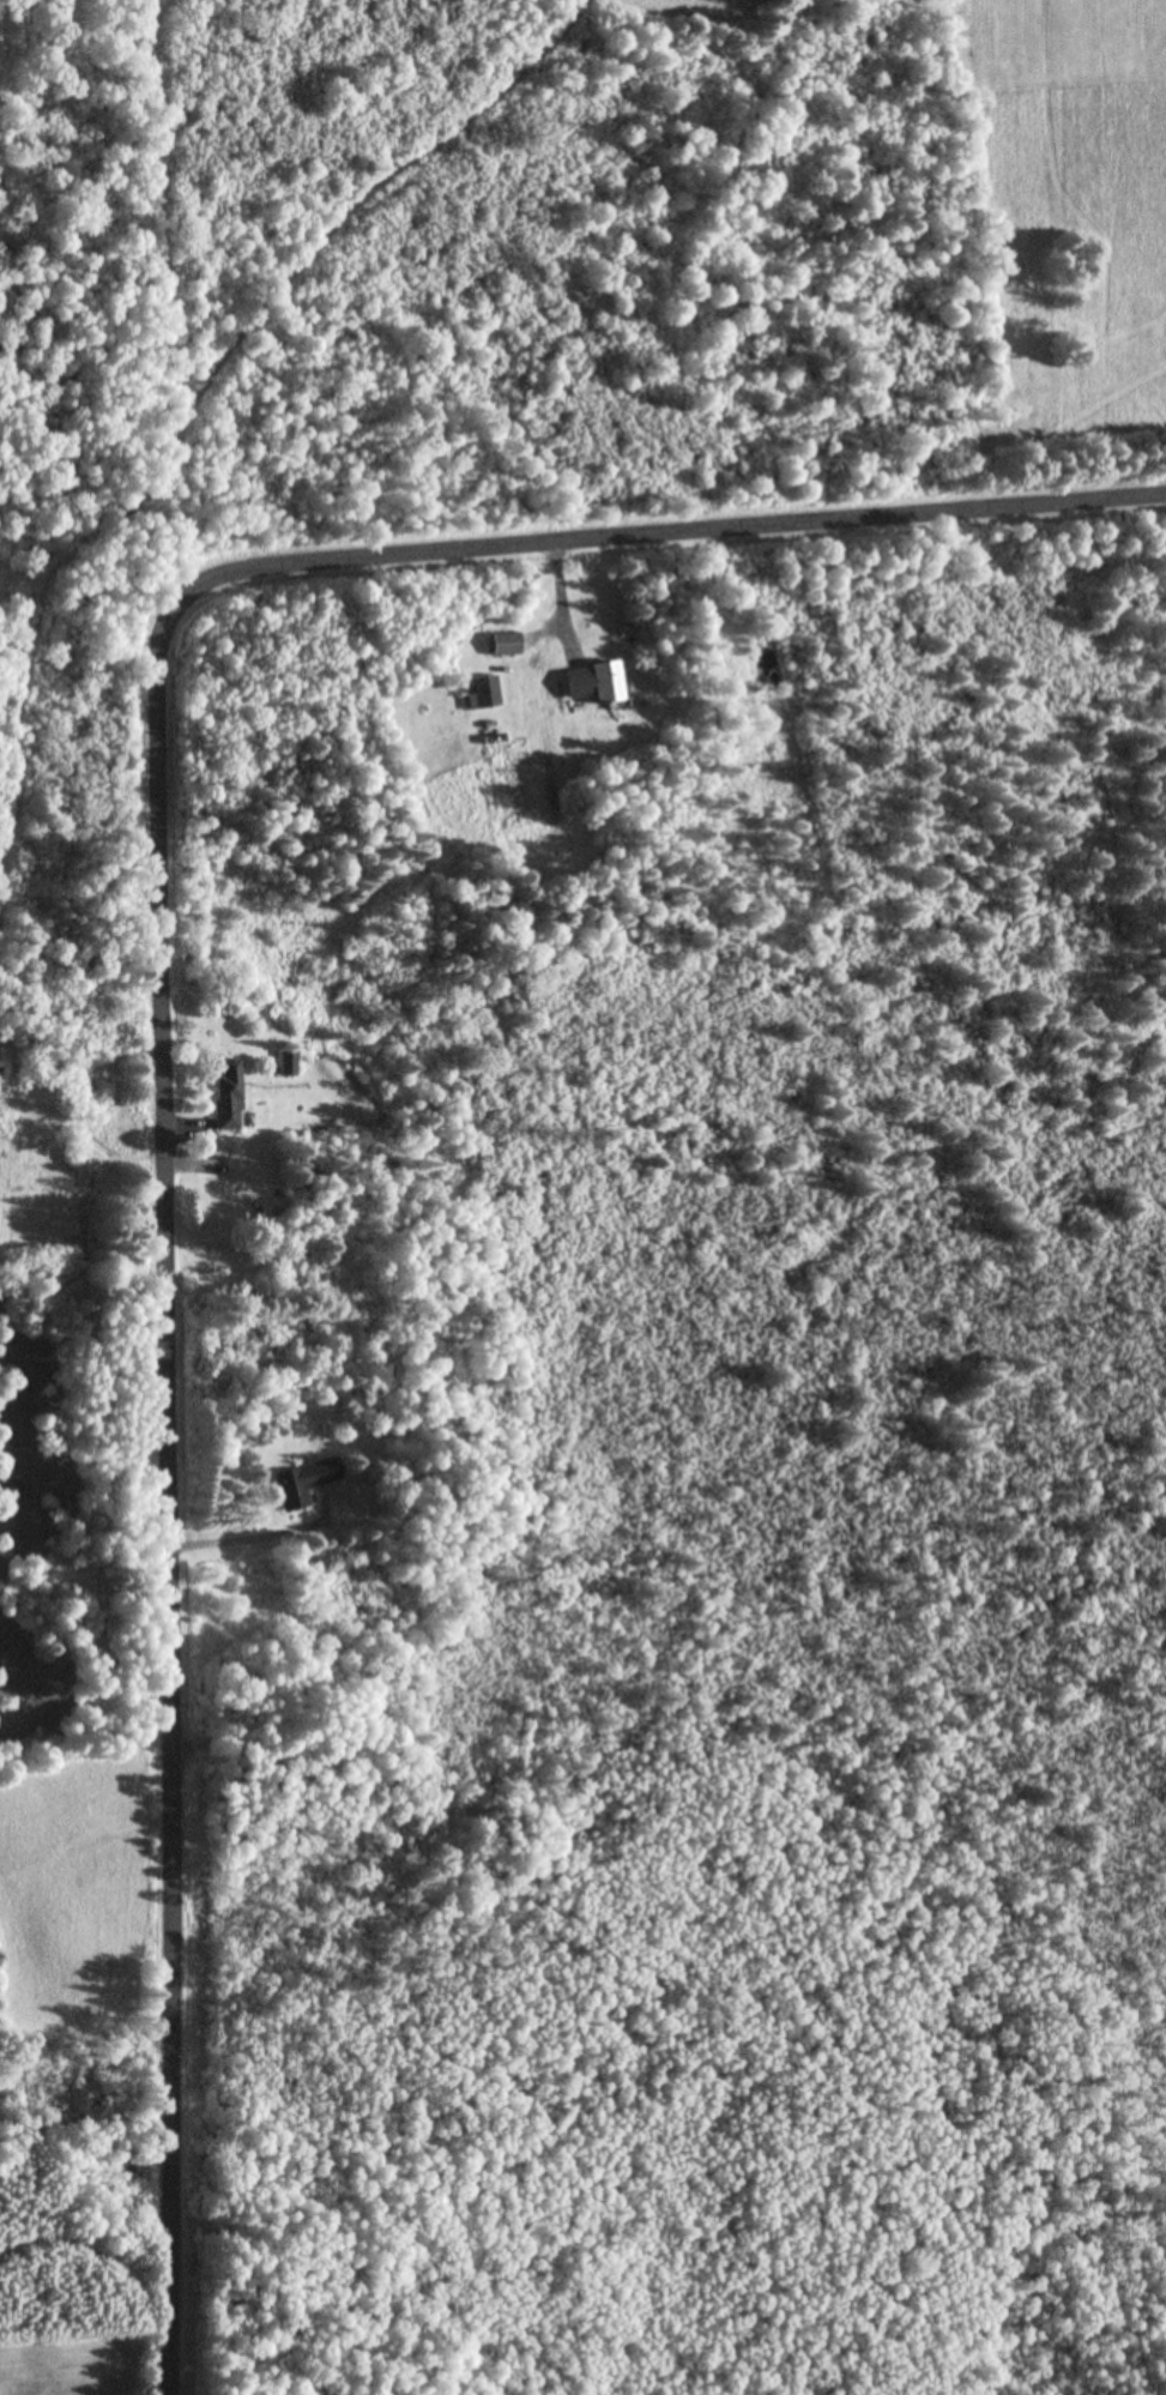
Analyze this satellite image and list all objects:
building: (505, 644)
building: (592, 681)
building: (484, 690)
road: (143, 983)
building: (226, 1094)
building: (304, 1480)

